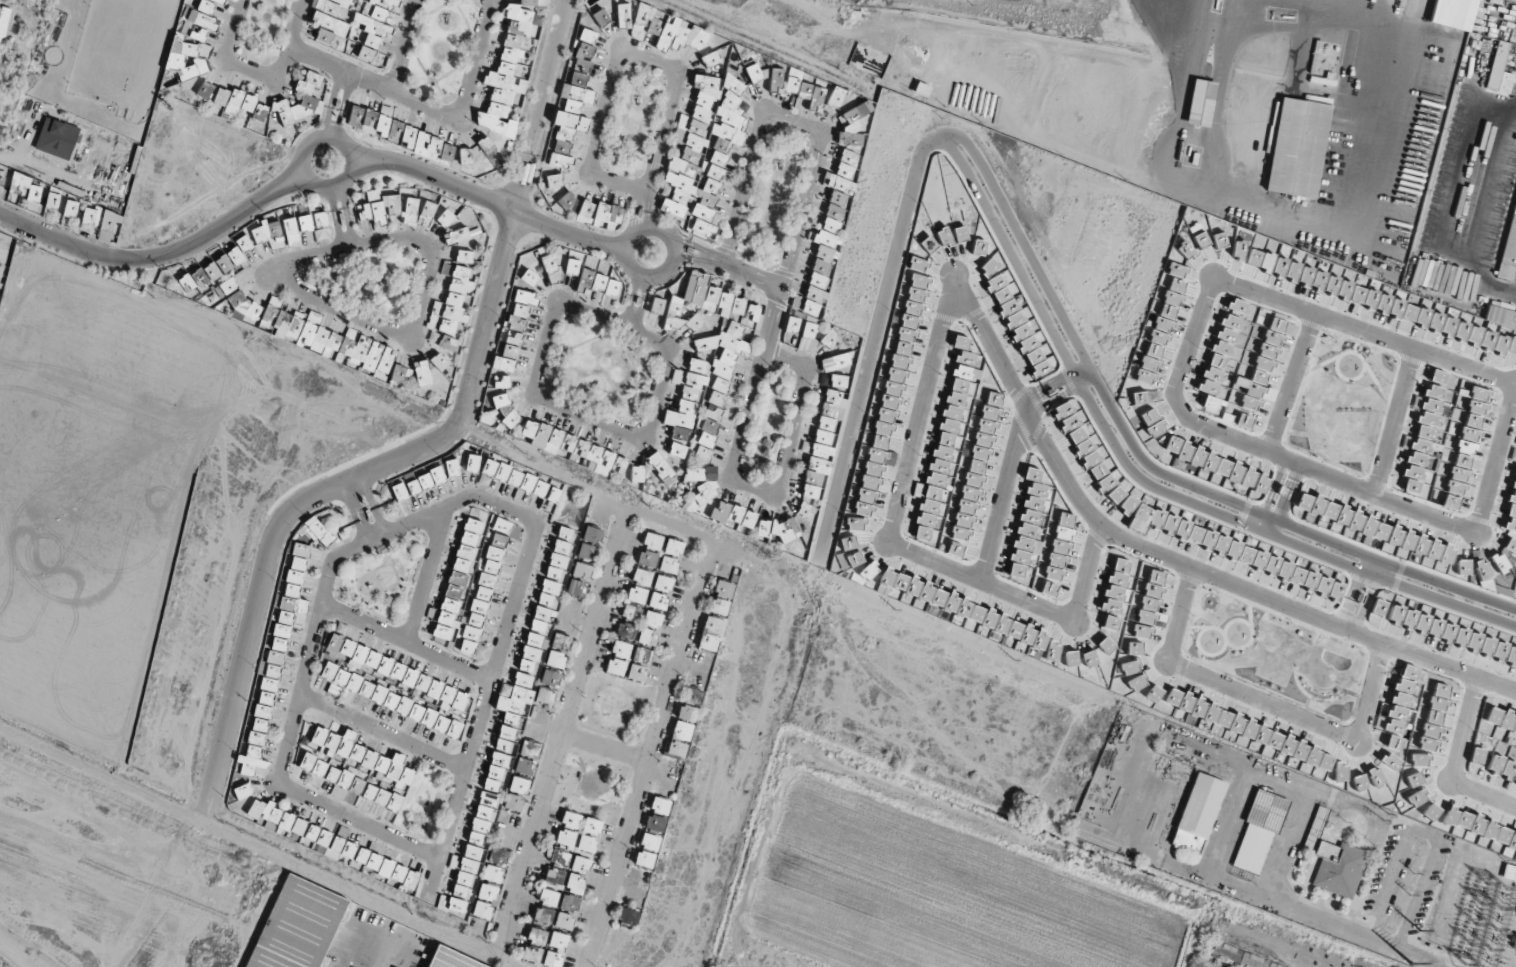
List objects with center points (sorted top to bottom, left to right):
crop: (1181, 472)
crop: (1423, 597)
crop: (934, 894)
power substation: (1479, 912)

